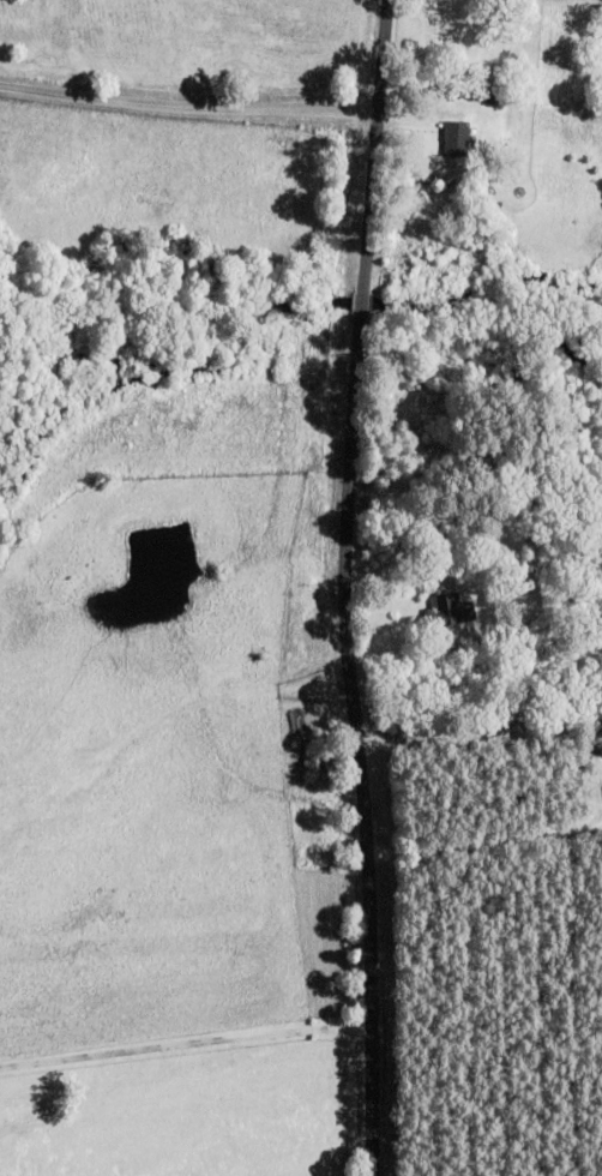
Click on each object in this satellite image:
road: (188, 102)
building: (457, 138)
road: (348, 587)
building: (450, 608)

